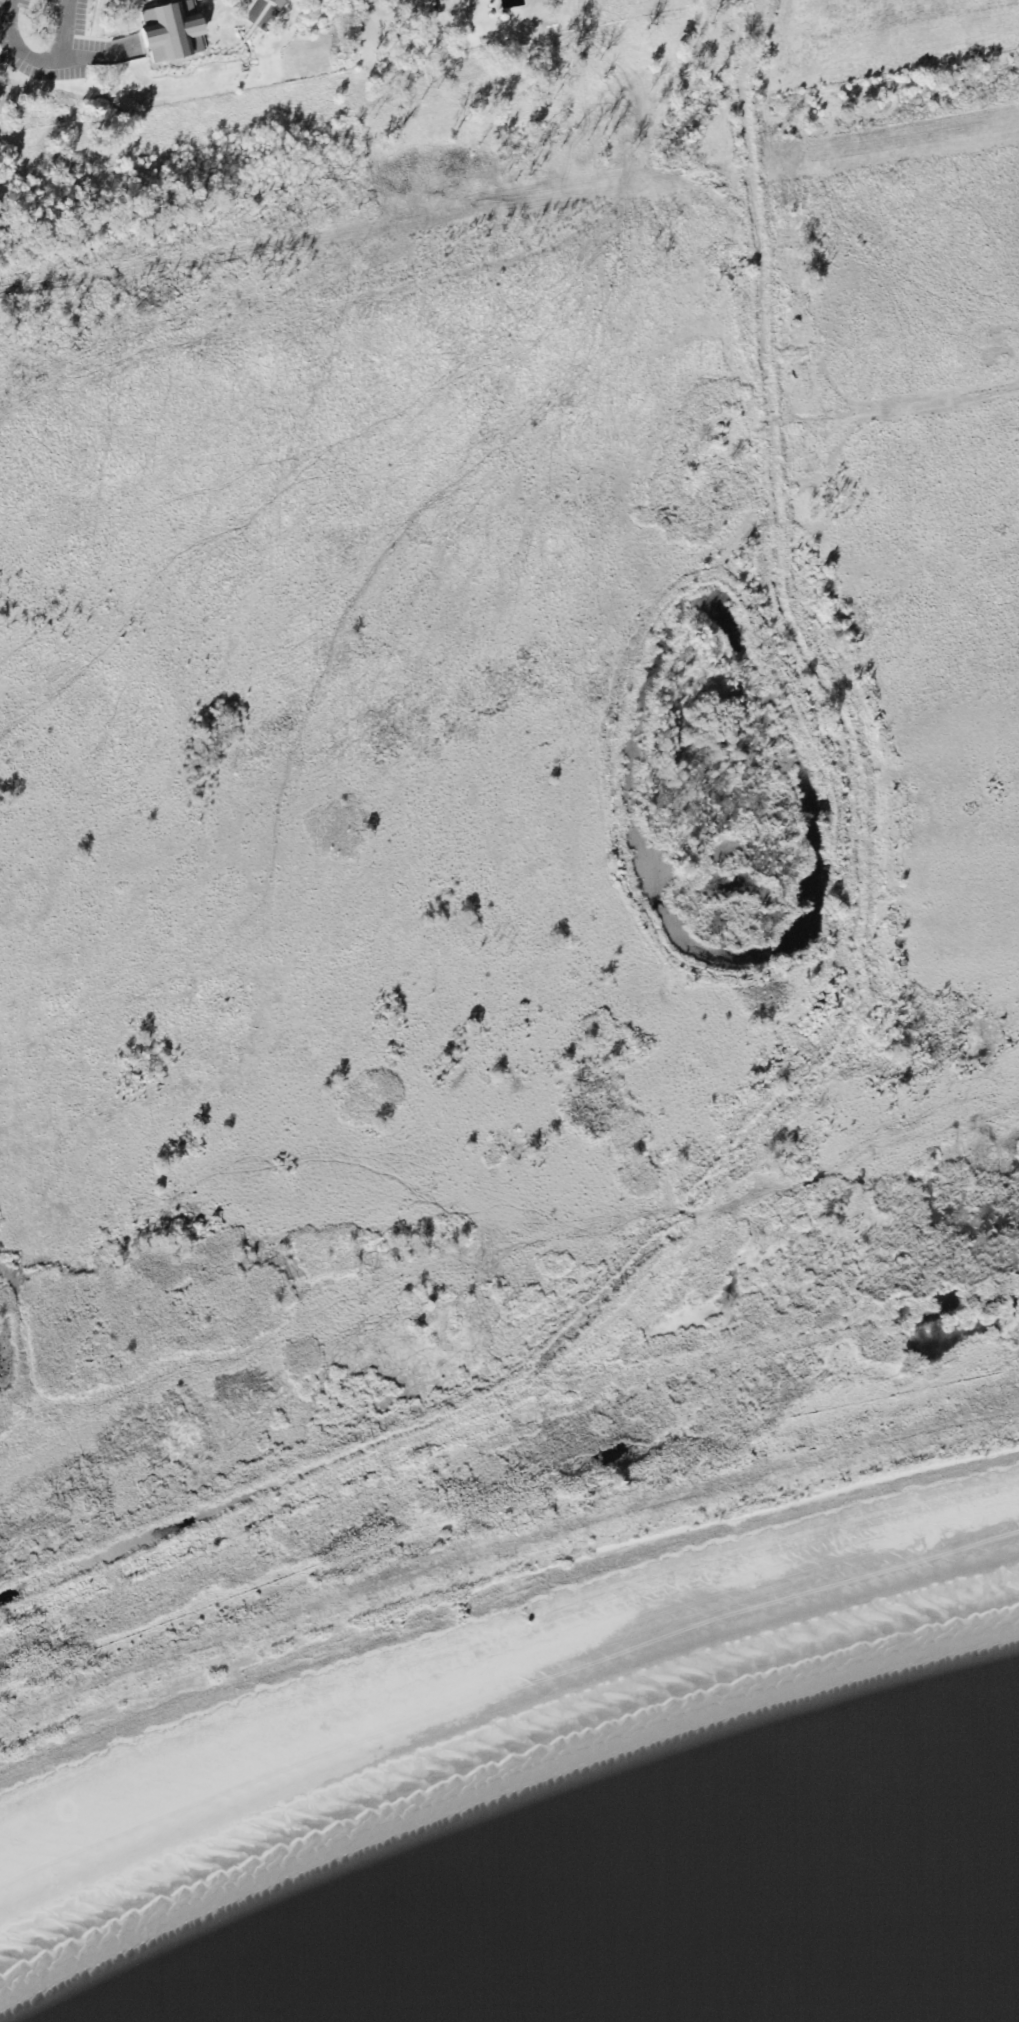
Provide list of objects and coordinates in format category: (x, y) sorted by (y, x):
building: (170, 30)
road: (79, 55)
road: (39, 61)

